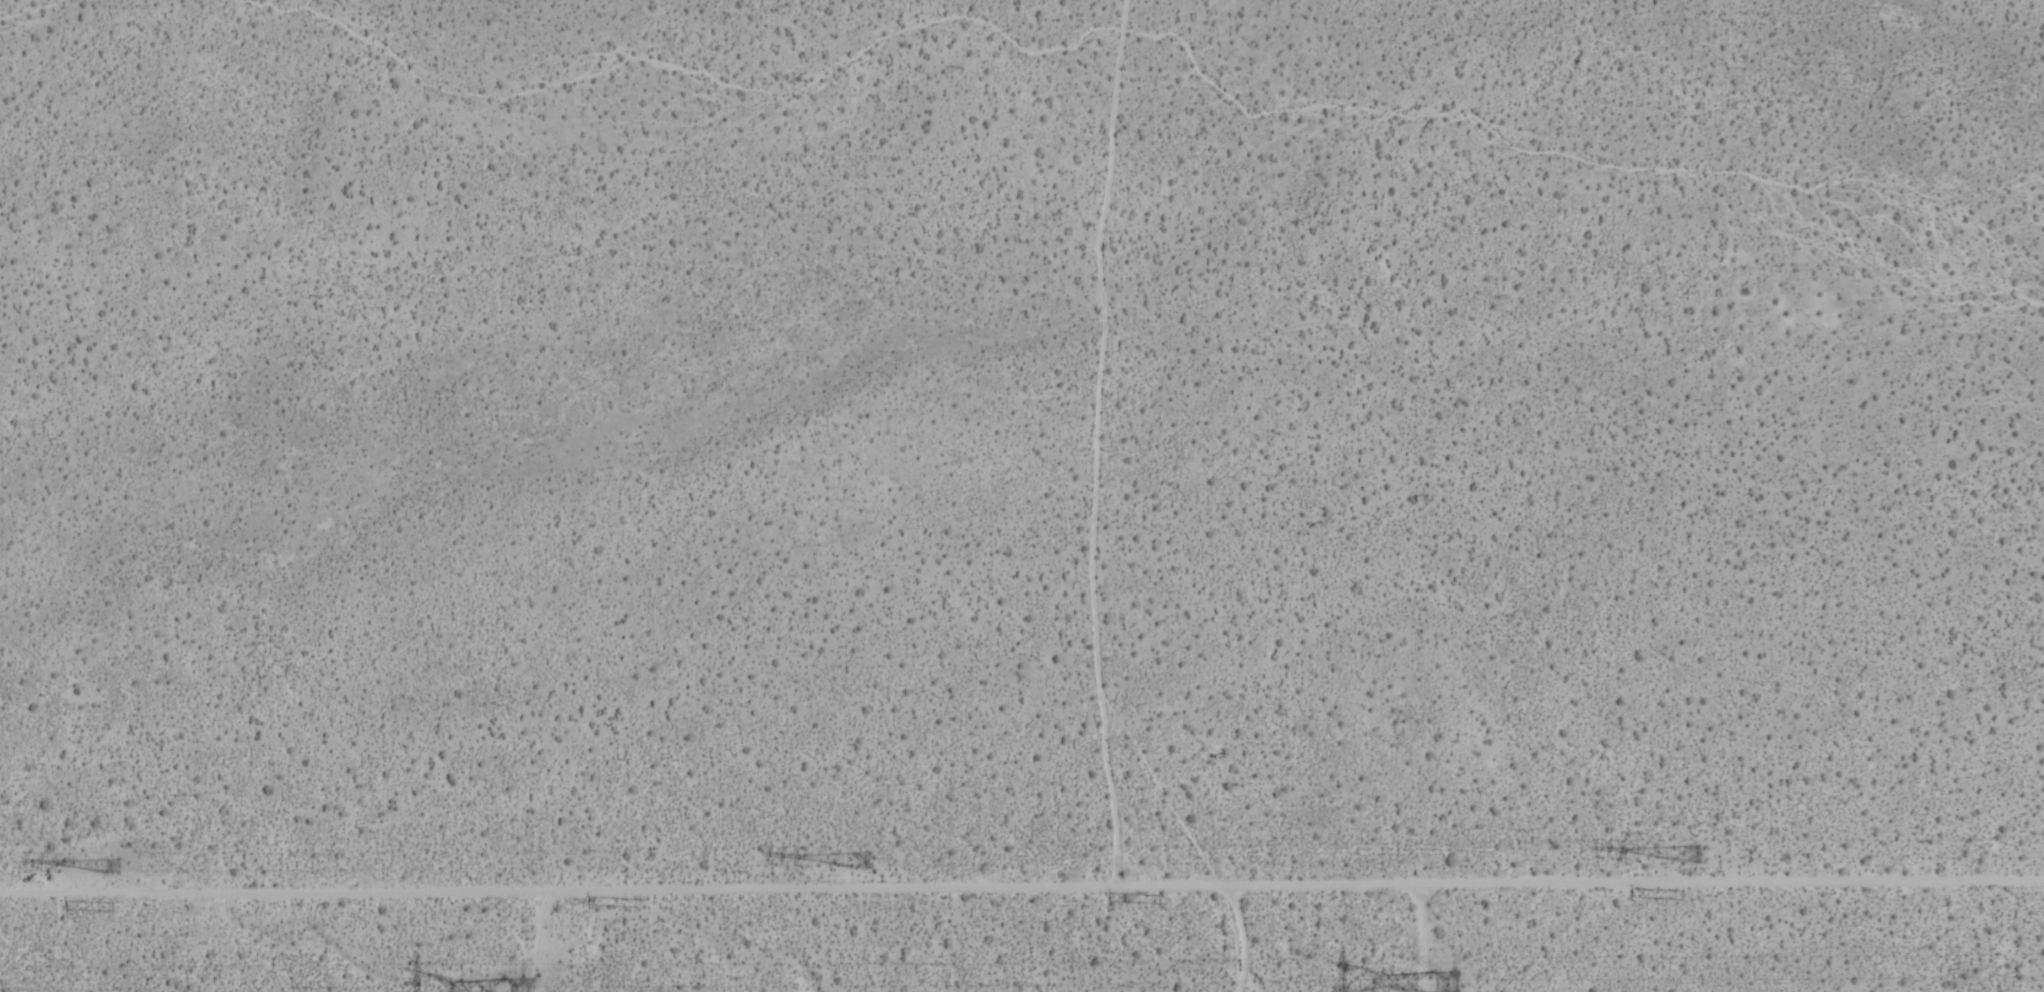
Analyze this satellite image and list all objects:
power tower: (1691, 856)
power tower: (869, 857)
power tower: (109, 871)
power tower: (1684, 896)
power tower: (1160, 901)
power tower: (636, 904)
power tower: (116, 906)
power tower: (1449, 984)

